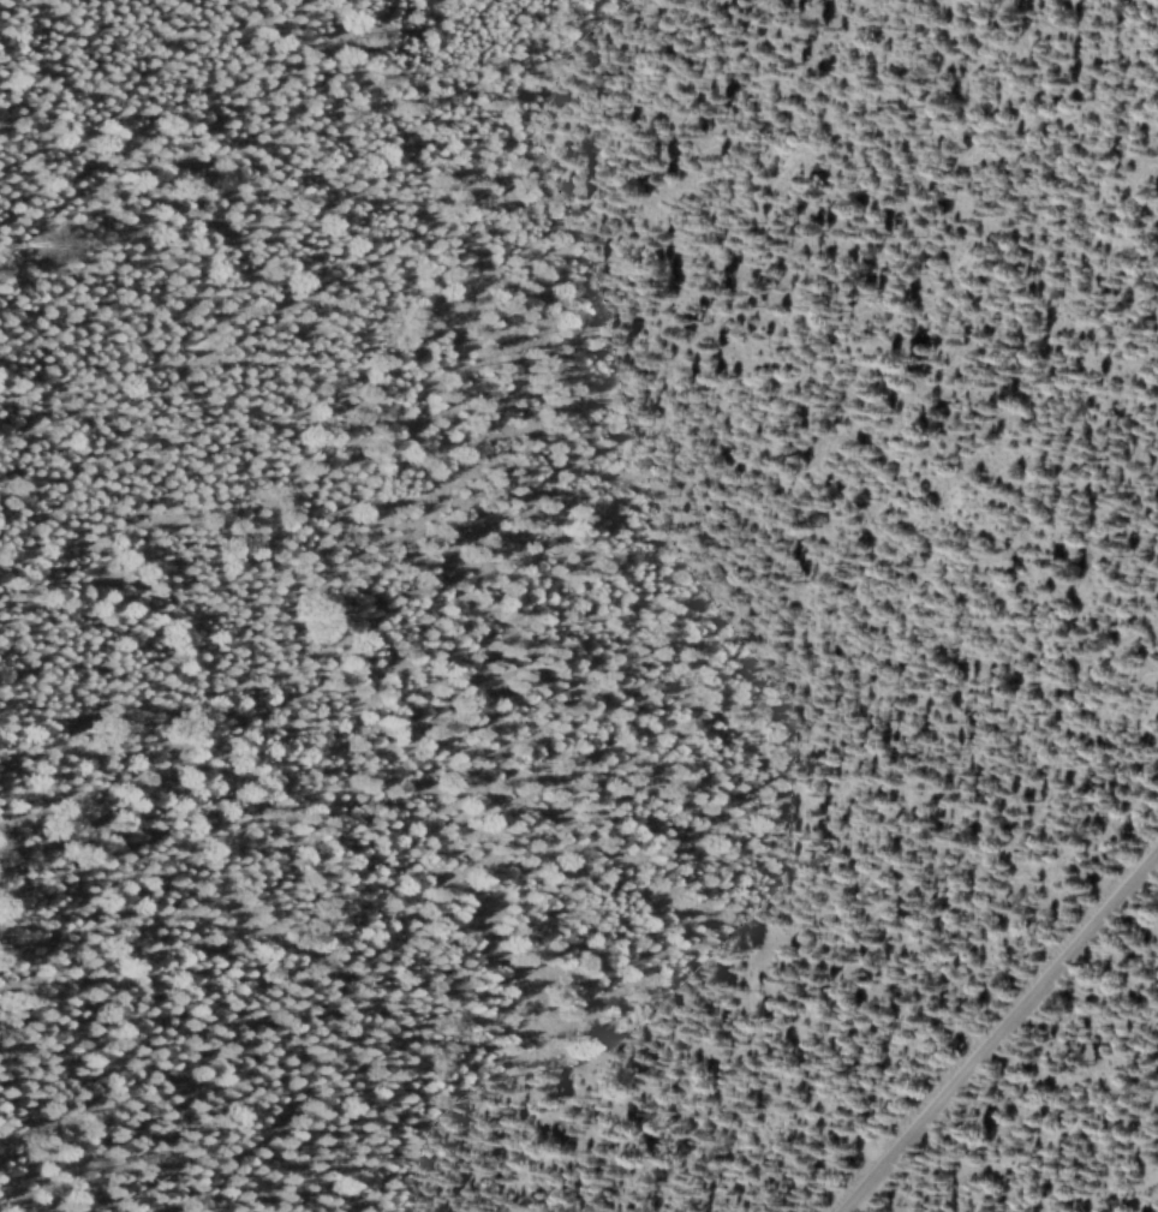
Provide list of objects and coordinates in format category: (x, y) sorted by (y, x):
road: (43, 83)
road: (1001, 1032)
road: (11, 1194)

